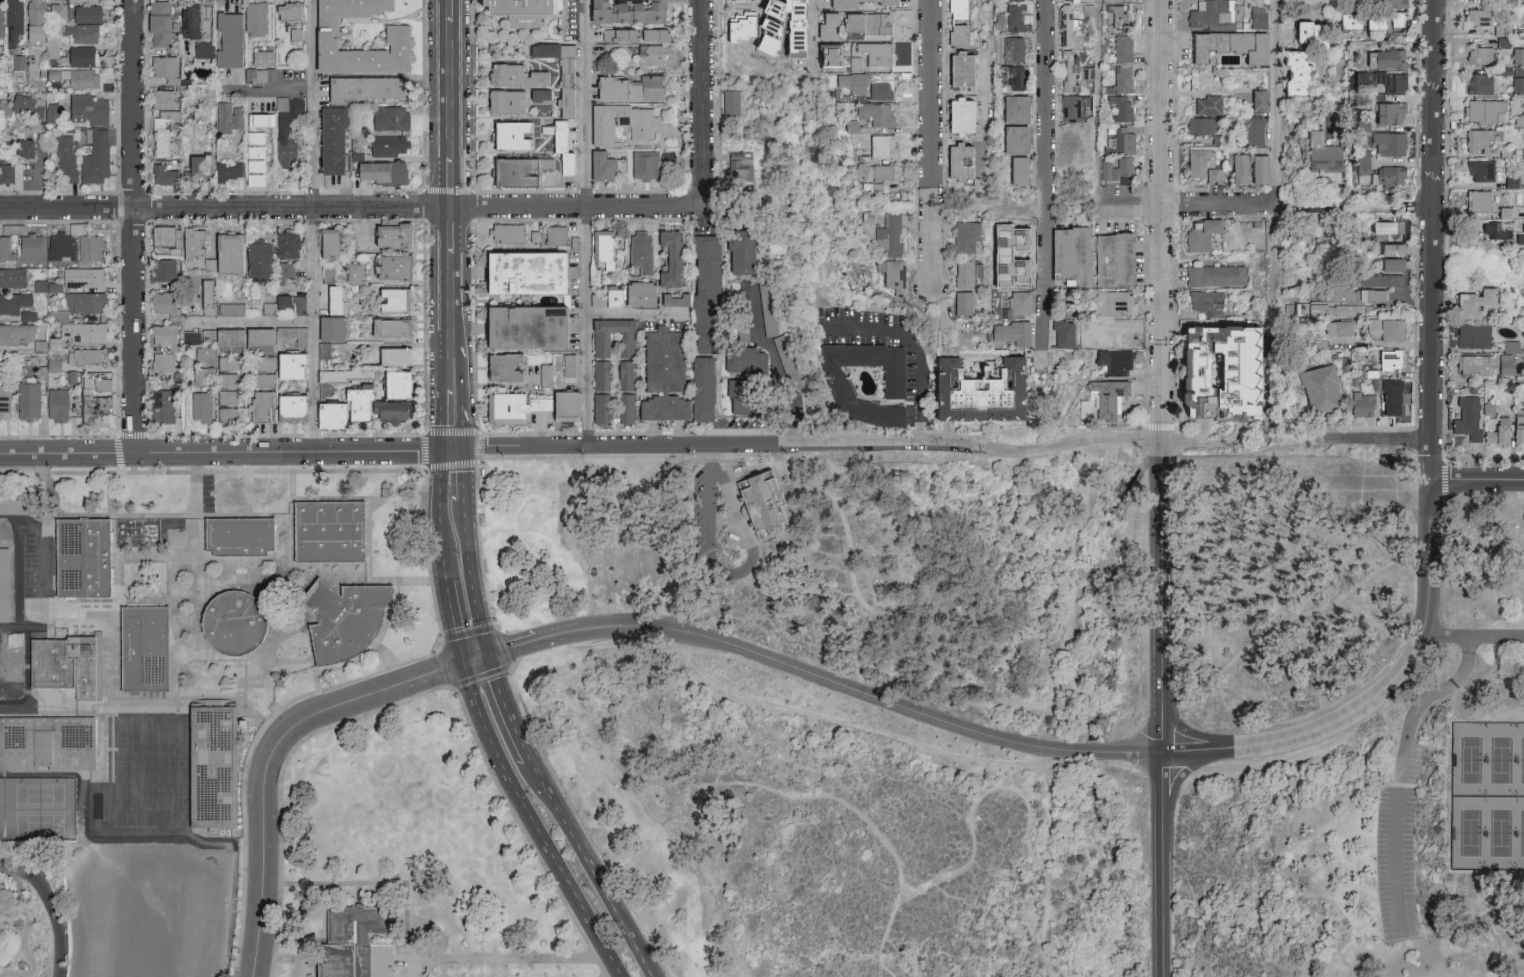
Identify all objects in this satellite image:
building: (1389, 3)
building: (838, 4)
building: (511, 8)
building: (0, 9)
building: (955, 9)
building: (284, 10)
road: (450, 10)
building: (620, 10)
building: (32, 11)
building: (71, 13)
building: (1210, 13)
building: (1014, 15)
building: (1477, 17)
building: (252, 18)
building: (1116, 18)
building: (1256, 18)
building: (190, 20)
building: (1347, 20)
building: (847, 21)
building: (12, 22)
building: (157, 22)
building: (776, 22)
building: (873, 22)
building: (1390, 23)
building: (823, 25)
road: (814, 26)
building: (736, 27)
building: (1066, 27)
building: (1501, 29)
building: (30, 31)
building: (80, 32)
building: (1306, 32)
building: (617, 34)
building: (651, 34)
building: (955, 34)
building: (393, 36)
building: (225, 39)
building: (1503, 42)
building: (758, 43)
building: (1226, 45)
building: (49, 46)
building: (1122, 47)
building: (201, 49)
building: (1012, 49)
building: (596, 51)
building: (873, 53)
building: (648, 54)
building: (80, 55)
building: (823, 55)
building: (1478, 55)
building: (1517, 55)
building: (1388, 58)
building: (17, 61)
building: (854, 64)
building: (163, 66)
building: (1069, 69)
building: (960, 70)
building: (557, 72)
building: (1087, 72)
building: (1295, 72)
building: (260, 74)
building: (518, 75)
building: (1012, 76)
building: (74, 77)
building: (1513, 77)
building: (1121, 78)
building: (1388, 81)
building: (852, 84)
building: (1479, 84)
building: (372, 86)
road: (256, 88)
road: (450, 89)
building: (877, 90)
road: (987, 92)
building: (538, 94)
building: (164, 99)
building: (1256, 99)
building: (508, 101)
road: (1093, 101)
road: (706, 102)
road: (1276, 102)
building: (732, 103)
building: (22, 105)
building: (1211, 105)
building: (1070, 107)
building: (1120, 107)
building: (87, 109)
building: (1016, 109)
building: (1482, 110)
building: (53, 112)
building: (1388, 113)
building: (874, 114)
building: (955, 115)
building: (227, 116)
building: (387, 117)
building: (258, 119)
building: (603, 121)
building: (641, 124)
building: (1200, 125)
building: (1239, 125)
building: (851, 126)
building: (163, 131)
building: (285, 131)
building: (1252, 131)
building: (505, 135)
building: (1016, 139)
building: (328, 140)
building: (1123, 140)
building: (1476, 140)
road: (931, 142)
building: (1387, 143)
building: (385, 145)
building: (881, 145)
building: (559, 146)
building: (22, 148)
building: (252, 151)
building: (1322, 154)
building: (354, 155)
building: (64, 156)
building: (94, 156)
building: (958, 161)
building: (1196, 162)
building: (1360, 162)
building: (642, 164)
building: (599, 166)
building: (737, 167)
building: (1123, 168)
building: (1238, 168)
building: (516, 169)
building: (1105, 169)
building: (1257, 169)
building: (1018, 170)
building: (1479, 170)
building: (226, 171)
building: (377, 171)
building: (252, 172)
building: (877, 172)
building: (6, 173)
building: (166, 175)
building: (1386, 175)
building: (1213, 176)
road: (1046, 181)
building: (1510, 181)
road: (450, 183)
building: (1478, 201)
road: (1184, 203)
road: (1414, 204)
road: (354, 208)
road: (1300, 212)
building: (1501, 212)
road: (1164, 220)
road: (587, 222)
building: (1388, 222)
road: (315, 224)
road: (135, 225)
road: (450, 230)
building: (1484, 230)
building: (516, 233)
building: (164, 235)
building: (387, 235)
building: (553, 235)
building: (1201, 235)
building: (966, 236)
building: (888, 237)
building: (1519, 237)
road: (1434, 239)
building: (191, 242)
building: (283, 244)
building: (324, 244)
building: (29, 245)
building: (59, 246)
building: (90, 247)
building: (598, 248)
building: (4, 249)
building: (1391, 249)
building: (637, 250)
building: (738, 251)
building: (224, 252)
building: (1067, 253)
building: (665, 258)
building: (255, 259)
building: (1115, 259)
building: (1390, 264)
building: (388, 267)
building: (161, 270)
building: (283, 270)
building: (516, 272)
building: (350, 274)
building: (963, 274)
building: (1214, 275)
building: (893, 276)
building: (11, 277)
building: (81, 277)
building: (703, 278)
building: (1376, 280)
building: (46, 286)
road: (450, 293)
building: (635, 294)
building: (1353, 294)
building: (206, 296)
building: (608, 297)
building: (390, 298)
building: (669, 299)
building: (12, 302)
building: (85, 302)
building: (161, 302)
building: (1207, 302)
building: (1473, 302)
building: (963, 303)
building: (1018, 303)
building: (1115, 303)
building: (287, 304)
building: (230, 308)
building: (1327, 310)
building: (671, 312)
road: (638, 314)
building: (27, 315)
building: (58, 315)
road: (252, 322)
building: (383, 327)
building: (516, 327)
building: (1334, 327)
road: (147, 328)
building: (328, 328)
building: (1382, 329)
road: (117, 330)
building: (80, 331)
building: (1012, 332)
building: (15, 333)
building: (1061, 333)
building: (161, 334)
building: (290, 334)
building: (1471, 335)
building: (188, 338)
building: (598, 344)
building: (1510, 346)
road: (915, 349)
building: (323, 350)
building: (84, 356)
building: (388, 356)
building: (741, 359)
building: (1388, 359)
building: (161, 361)
road: (452, 361)
building: (1113, 361)
building: (241, 363)
building: (1343, 363)
building: (1476, 364)
building: (1504, 364)
building: (52, 365)
building: (285, 365)
building: (504, 365)
building: (567, 365)
building: (1221, 366)
building: (538, 375)
building: (599, 375)
building: (623, 375)
building: (658, 375)
building: (201, 376)
building: (225, 379)
building: (834, 379)
building: (258, 380)
building: (392, 383)
building: (699, 389)
building: (1318, 389)
building: (972, 391)
building: (1390, 394)
building: (1108, 397)
building: (26, 401)
building: (753, 402)
building: (553, 404)
building: (1361, 404)
building: (55, 405)
building: (160, 406)
building: (199, 406)
building: (225, 406)
building: (503, 406)
building: (1186, 406)
building: (92, 407)
building: (273, 407)
building: (368, 407)
building: (598, 408)
building: (625, 408)
road: (453, 409)
building: (325, 415)
building: (1466, 419)
building: (1518, 426)
building: (1496, 432)
road: (133, 435)
road: (286, 436)
road: (458, 437)
road: (447, 438)
road: (1377, 440)
road: (815, 443)
road: (453, 447)
traffic signals: (464, 447)
traffic signals: (442, 448)
road: (221, 450)
road: (425, 451)
road: (1247, 453)
road: (148, 454)
road: (465, 454)
road: (501, 457)
road: (1484, 460)
road: (299, 471)
road: (440, 476)
road: (1476, 480)
road: (466, 486)
building: (764, 504)
building: (21, 505)
building: (330, 533)
building: (241, 537)
road: (442, 543)
building: (84, 559)
road: (738, 576)
road: (473, 583)
building: (5, 586)
road: (1164, 597)
road: (1056, 614)
building: (344, 619)
road: (455, 620)
road: (871, 621)
building: (234, 623)
road: (1471, 639)
building: (145, 650)
traffic signals: (486, 655)
traffic signals: (465, 661)
road: (507, 667)
building: (69, 668)
road: (814, 675)
road: (711, 677)
road: (1443, 691)
road: (1380, 693)
road: (1454, 693)
road: (416, 696)
road: (505, 708)
park: (757, 716)
road: (1486, 717)
road: (493, 739)
building: (48, 743)
road: (272, 757)
park: (1469, 758)
park: (1500, 760)
park: (1522, 760)
building: (213, 769)
road: (540, 783)
road: (1029, 788)
park: (39, 794)
road: (832, 797)
park: (38, 806)
park: (1469, 832)
park: (1499, 832)
park: (1522, 833)
road: (1397, 837)
parking lot: (1396, 849)
road: (695, 852)
road: (1164, 865)
road: (1484, 871)
road: (9, 873)
road: (381, 884)
road: (603, 890)
road: (1433, 894)
road: (577, 895)
road: (51, 903)
road: (1489, 923)
building: (352, 937)
road: (298, 958)
road: (491, 958)
building: (383, 961)

